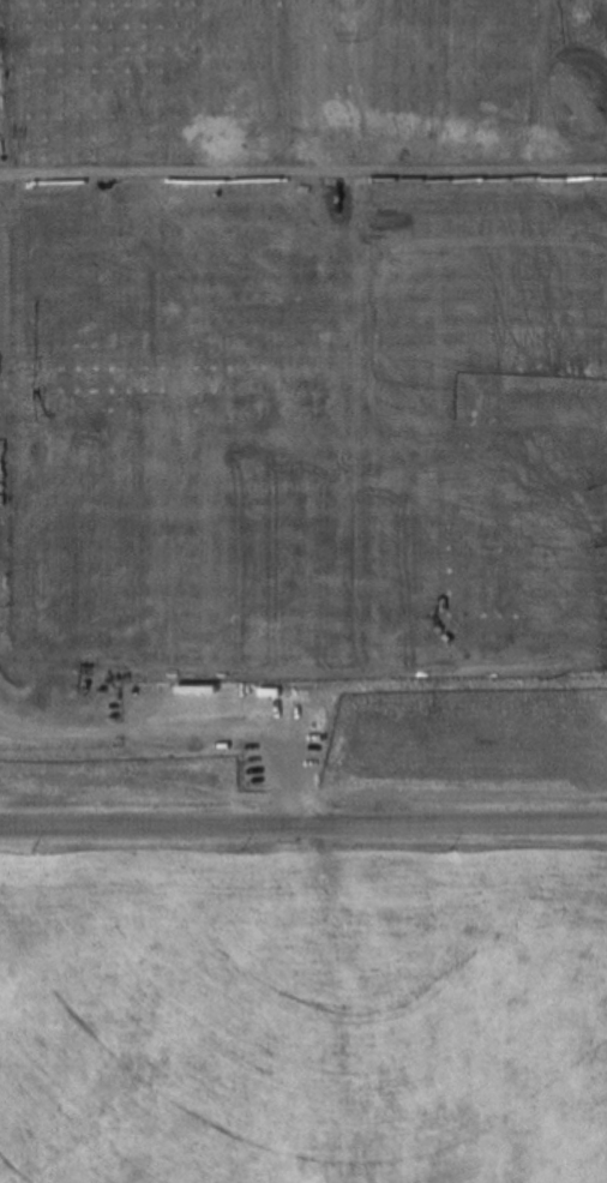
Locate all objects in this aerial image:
road: (303, 833)

